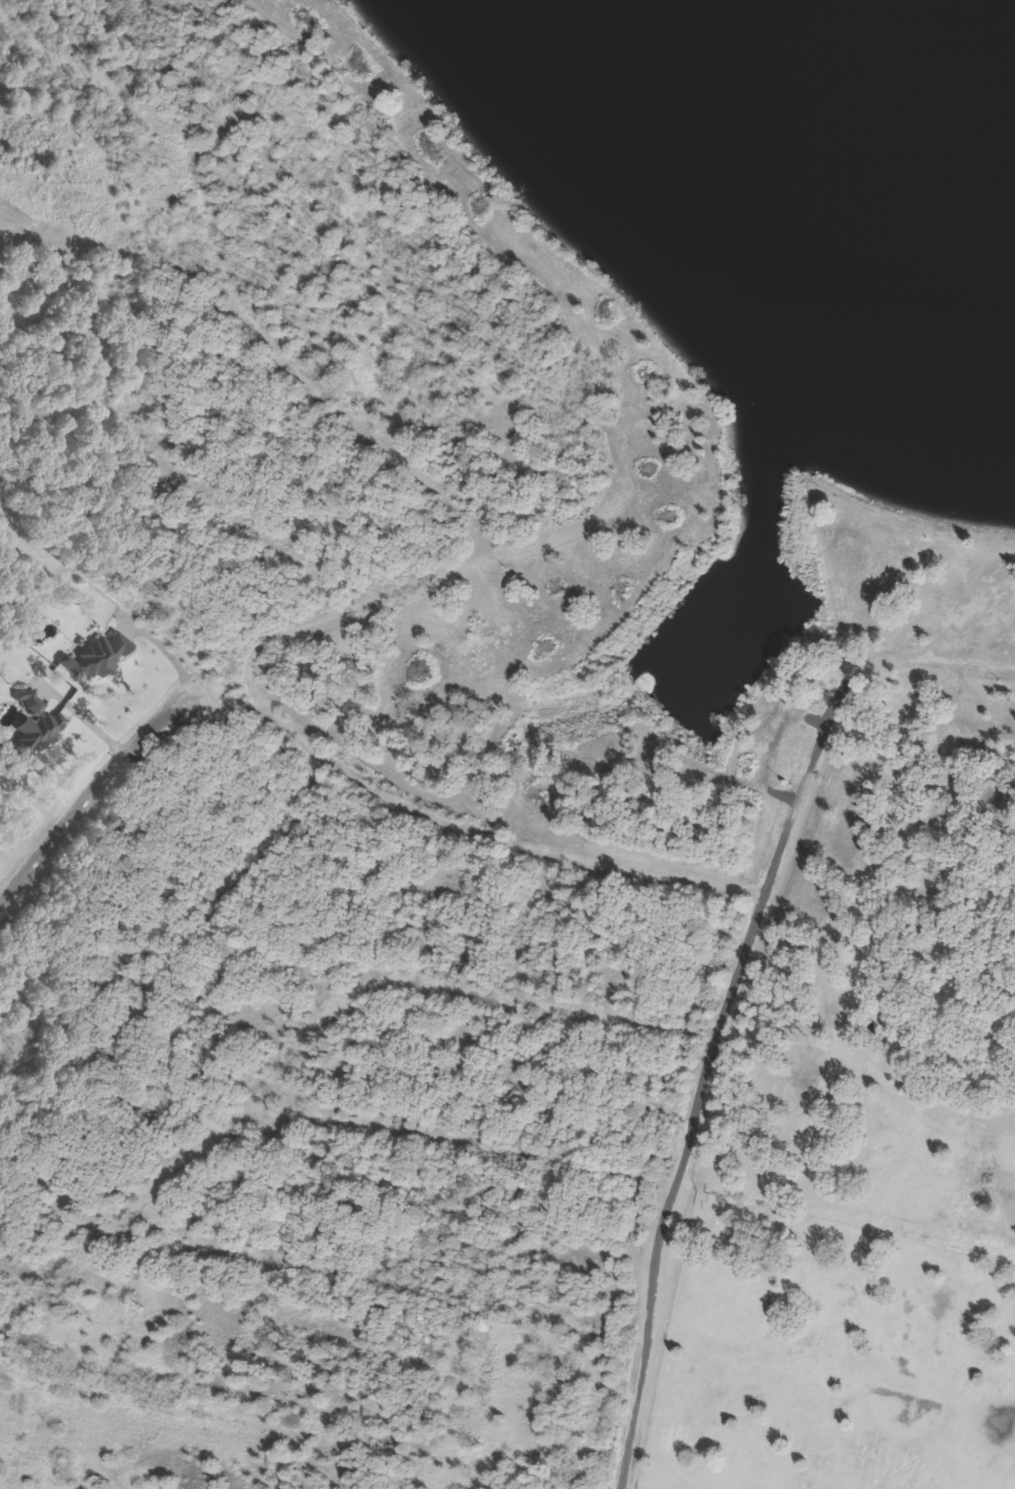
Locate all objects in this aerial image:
road: (500, 535)
building: (95, 656)
building: (39, 720)
road: (351, 768)
road: (88, 795)
road: (727, 992)
building: (1004, 1251)

